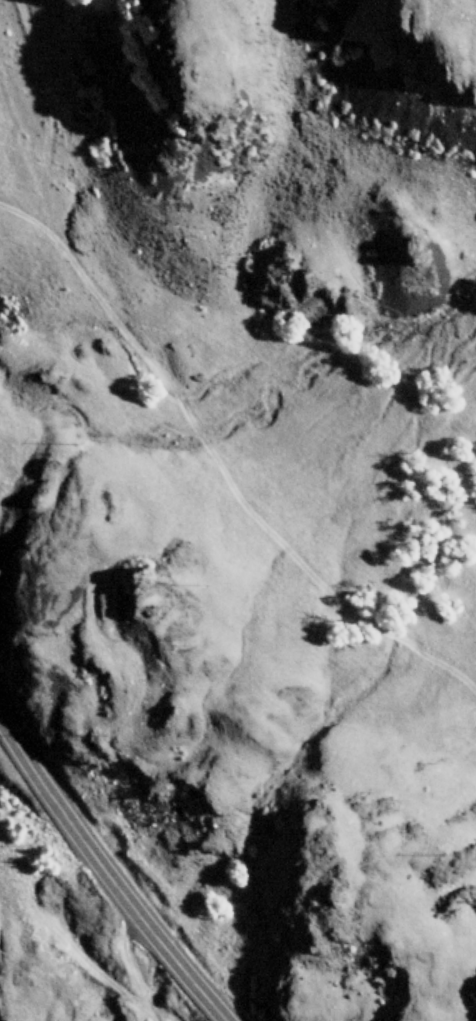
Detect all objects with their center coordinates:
road: (106, 875)
road: (128, 961)

